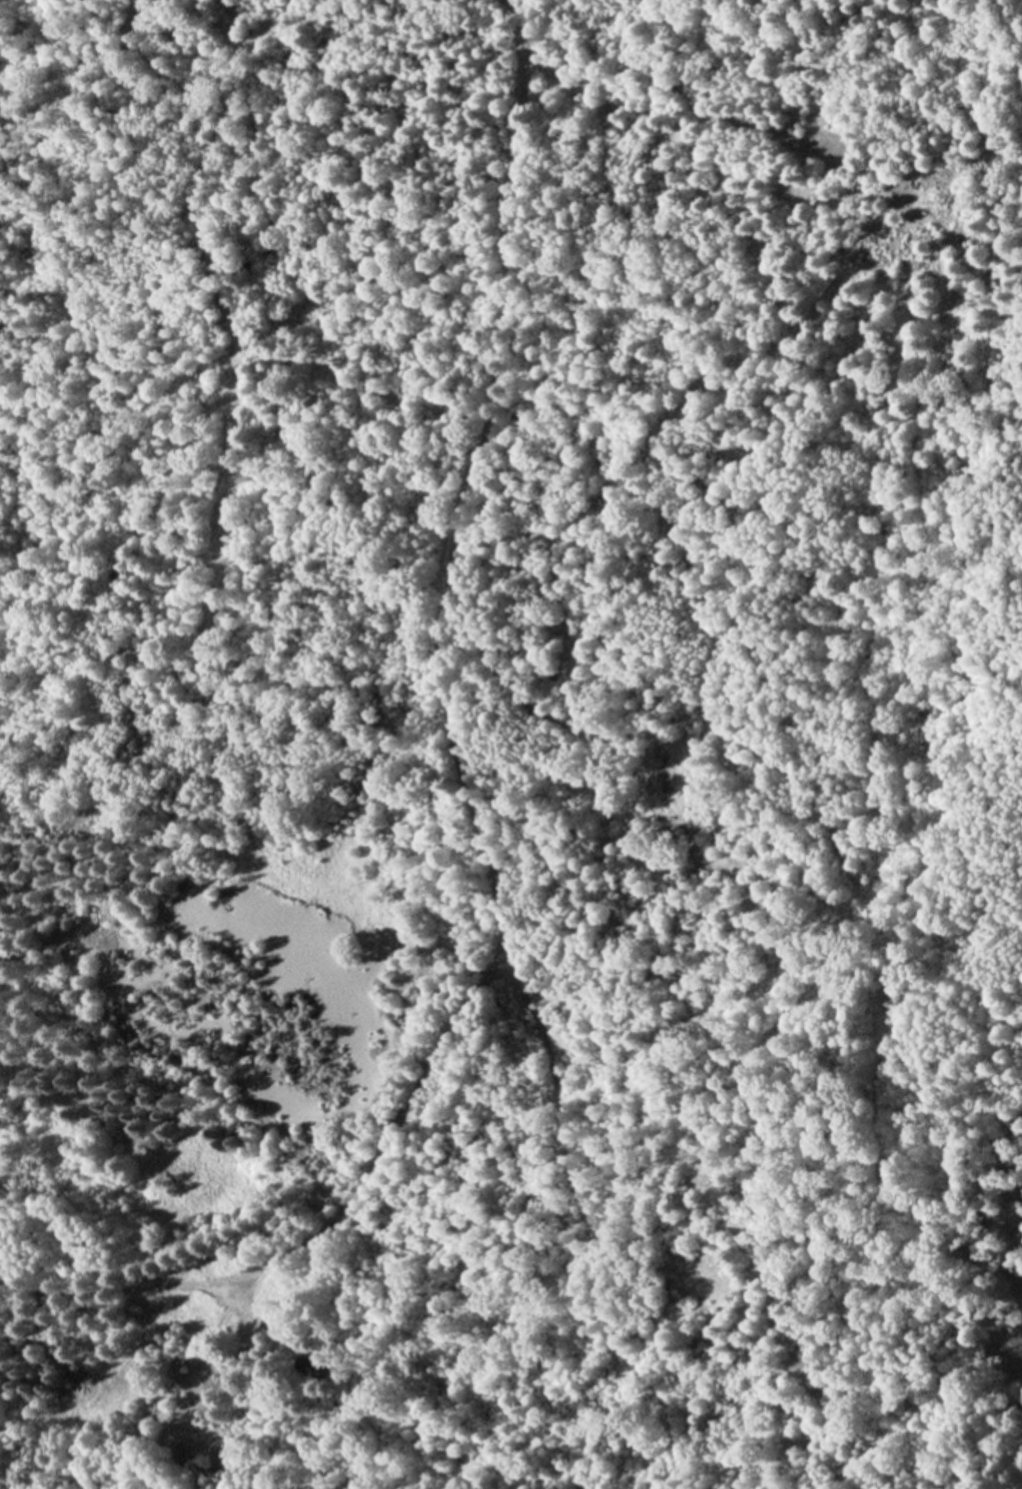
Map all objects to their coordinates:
road: (466, 801)

